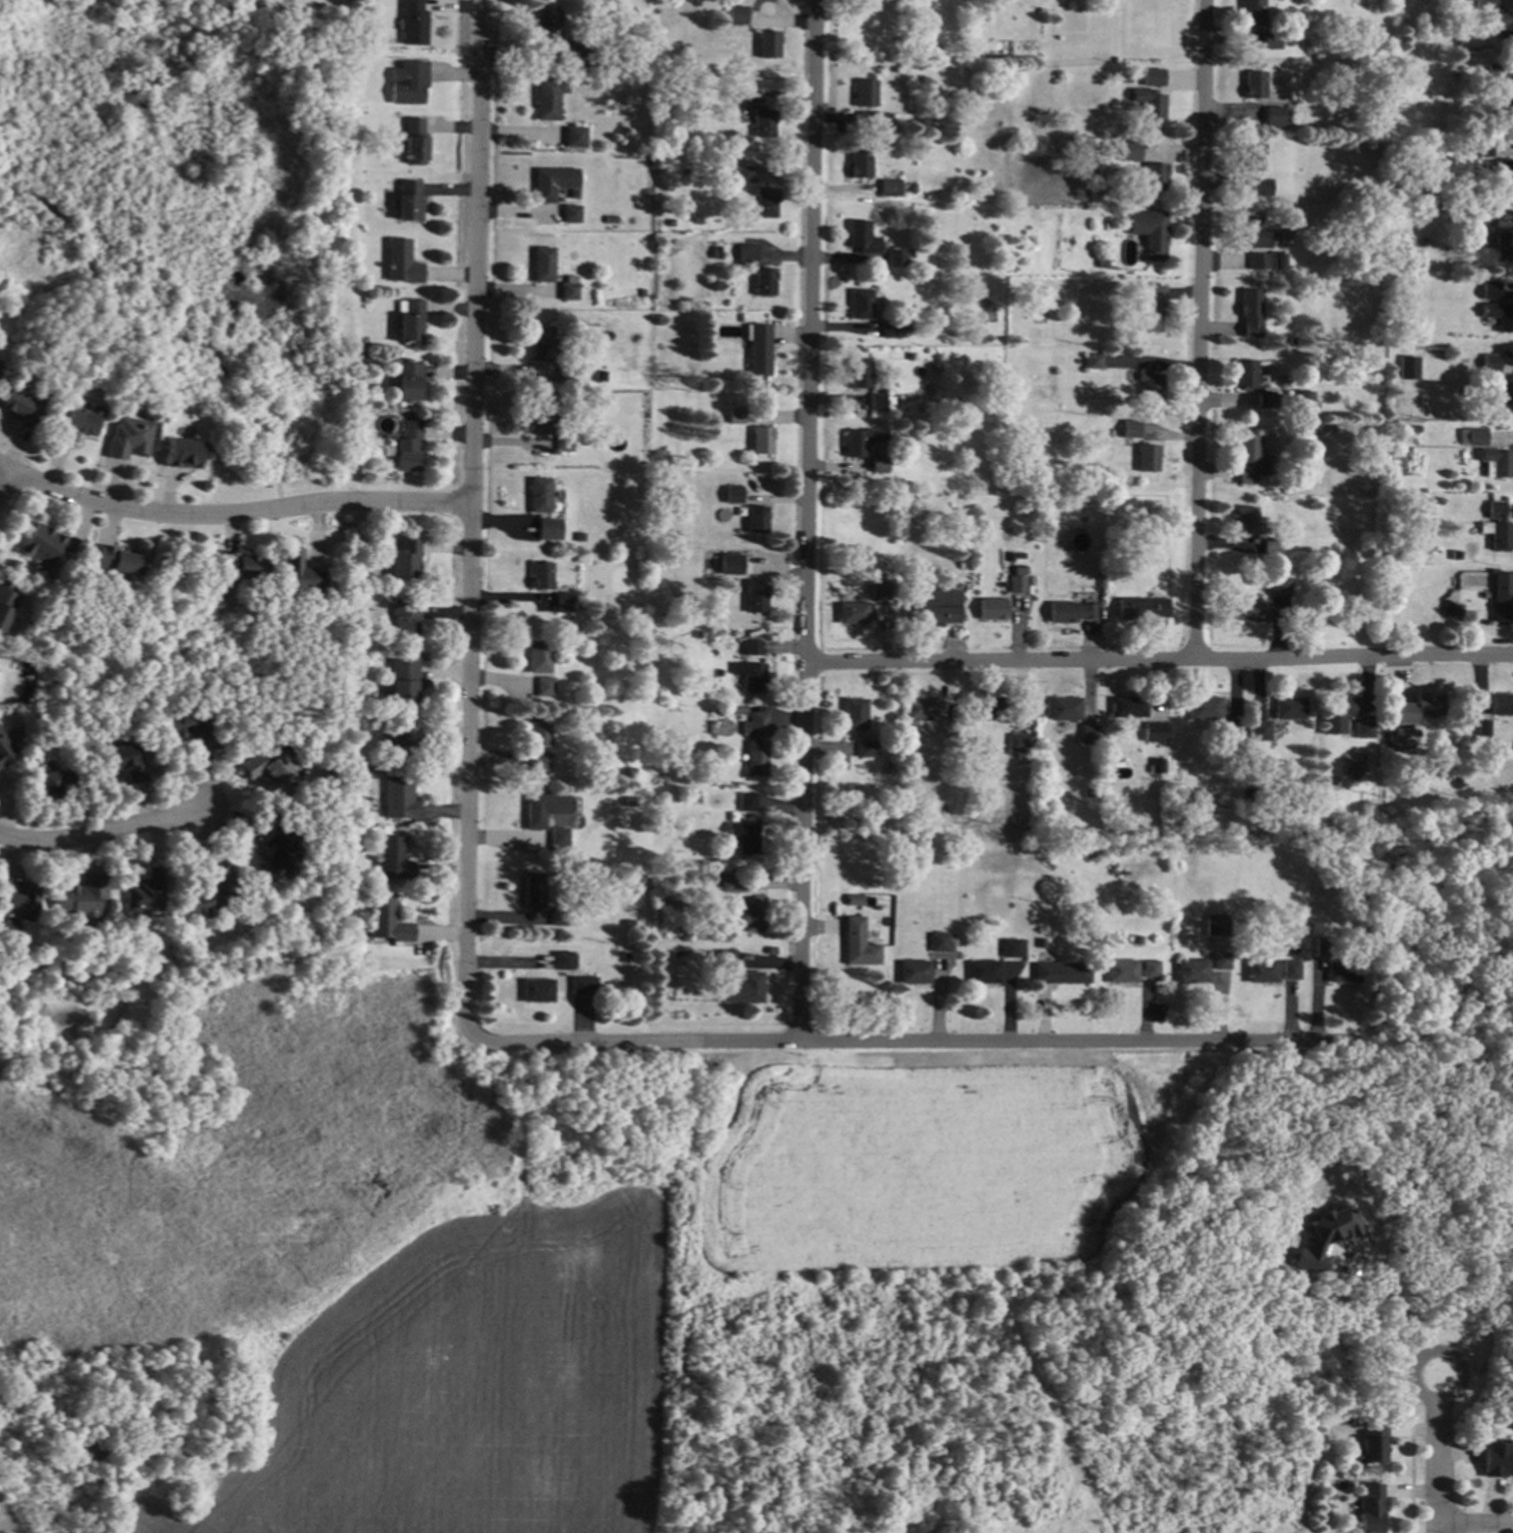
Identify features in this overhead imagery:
building: (1486, 5)
building: (1252, 13)
building: (737, 15)
building: (413, 23)
building: (1502, 24)
building: (549, 25)
building: (1271, 40)
building: (1306, 42)
building: (768, 44)
building: (576, 53)
building: (592, 58)
building: (1495, 72)
building: (1155, 77)
building: (1127, 78)
building: (409, 84)
building: (1254, 85)
building: (865, 93)
building: (740, 94)
building: (725, 96)
building: (549, 98)
building: (1507, 101)
building: (1149, 103)
building: (1277, 116)
building: (883, 121)
building: (763, 123)
building: (621, 134)
building: (575, 137)
building: (414, 141)
building: (1482, 148)
building: (1127, 152)
building: (1253, 158)
building: (860, 164)
building: (1500, 171)
building: (745, 174)
building: (1155, 177)
building: (553, 183)
building: (1262, 187)
building: (890, 188)
building: (912, 188)
building: (409, 201)
building: (765, 203)
building: (1464, 212)
building: (571, 214)
building: (1482, 215)
building: (611, 220)
park: (187, 221)
building: (1255, 234)
building: (863, 238)
building: (1152, 239)
building: (1504, 246)
building: (746, 252)
building: (911, 253)
building: (897, 258)
building: (1259, 261)
building: (1279, 261)
building: (401, 262)
building: (543, 264)
building: (764, 282)
building: (569, 288)
building: (1491, 290)
building: (642, 292)
building: (365, 299)
building: (860, 304)
building: (1150, 307)
building: (1251, 313)
building: (1500, 316)
building: (741, 317)
building: (411, 321)
building: (909, 328)
building: (890, 330)
road: (1196, 330)
road: (141, 335)
building: (1293, 340)
building: (542, 344)
building: (758, 348)
building: (910, 356)
building: (1093, 361)
building: (1491, 363)
building: (1, 368)
building: (1409, 368)
building: (565, 373)
building: (860, 374)
building: (1246, 375)
building: (600, 376)
building: (408, 381)
building: (1150, 385)
building: (1504, 391)
building: (1266, 397)
building: (877, 402)
building: (1304, 402)
building: (21, 409)
building: (407, 414)
building: (543, 416)
building: (736, 416)
building: (951, 422)
building: (75, 424)
building: (1416, 428)
building: (1131, 429)
building: (1324, 429)
building: (1112, 431)
building: (1473, 437)
building: (129, 438)
building: (761, 440)
building: (862, 441)
building: (563, 443)
building: (408, 446)
building: (182, 453)
building: (1147, 458)
building: (1248, 458)
building: (1498, 461)
building: (880, 463)
road: (3, 472)
road: (3, 480)
building: (540, 495)
building: (1044, 496)
building: (733, 497)
road: (235, 513)
building: (757, 519)
road: (807, 519)
building: (1246, 520)
building: (1498, 527)
building: (549, 529)
road: (470, 534)
building: (47, 545)
building: (1271, 546)
building: (406, 559)
building: (116, 560)
building: (731, 565)
building: (240, 566)
building: (1019, 570)
building: (300, 574)
building: (541, 576)
building: (1017, 584)
building: (1280, 586)
building: (880, 591)
building: (1502, 597)
building: (756, 598)
building: (563, 602)
building: (582, 602)
building: (6, 604)
building: (310, 605)
building: (933, 606)
building: (1389, 607)
building: (1142, 608)
building: (992, 609)
building: (1250, 610)
building: (1456, 611)
building: (1070, 612)
building: (853, 613)
building: (404, 621)
building: (697, 634)
building: (751, 648)
building: (538, 657)
road: (1158, 661)
building: (750, 676)
building: (403, 680)
building: (370, 681)
building: (545, 687)
building: (577, 695)
building: (1500, 704)
building: (1338, 706)
building: (1130, 707)
building: (1205, 708)
building: (1288, 708)
building: (1417, 708)
building: (919, 709)
building: (989, 709)
building: (1066, 709)
building: (716, 714)
building: (854, 714)
building: (755, 725)
building: (191, 726)
building: (947, 726)
building: (1481, 728)
building: (1159, 730)
building: (1257, 730)
building: (1363, 730)
building: (538, 734)
building: (1090, 734)
building: (1228, 738)
building: (1018, 742)
building: (397, 744)
building: (5, 749)
building: (866, 749)
building: (755, 758)
building: (124, 762)
building: (538, 763)
building: (1159, 766)
building: (270, 769)
building: (629, 772)
building: (54, 783)
building: (1091, 792)
building: (1250, 794)
building: (694, 798)
building: (398, 799)
building: (628, 801)
building: (747, 802)
building: (543, 809)
building: (363, 823)
road: (97, 834)
building: (744, 835)
building: (558, 840)
building: (276, 849)
building: (392, 859)
building: (729, 883)
building: (533, 892)
building: (144, 893)
building: (209, 894)
building: (80, 897)
building: (853, 900)
building: (21, 903)
building: (749, 915)
building: (558, 916)
building: (386, 920)
building: (629, 923)
building: (1218, 925)
building: (140, 931)
building: (1358, 937)
building: (1139, 940)
building: (939, 942)
building: (858, 943)
building: (1042, 943)
building: (1323, 947)
building: (1011, 948)
building: (1293, 949)
building: (770, 951)
building: (625, 958)
building: (59, 959)
building: (725, 959)
building: (563, 960)
building: (1222, 960)
building: (1151, 968)
building: (1291, 970)
building: (1123, 971)
building: (1193, 971)
building: (1262, 971)
building: (914, 972)
building: (984, 972)
building: (1344, 972)
building: (1062, 973)
building: (583, 986)
building: (744, 988)
building: (537, 991)
road: (920, 1040)
crop: (913, 1173)
building: (1326, 1237)
road: (1486, 1309)
road: (1404, 1315)
crop: (440, 1391)
building: (1487, 1420)
building: (1372, 1444)
road: (1439, 1454)
building: (1497, 1459)
building: (1371, 1509)
road: (1476, 1522)

